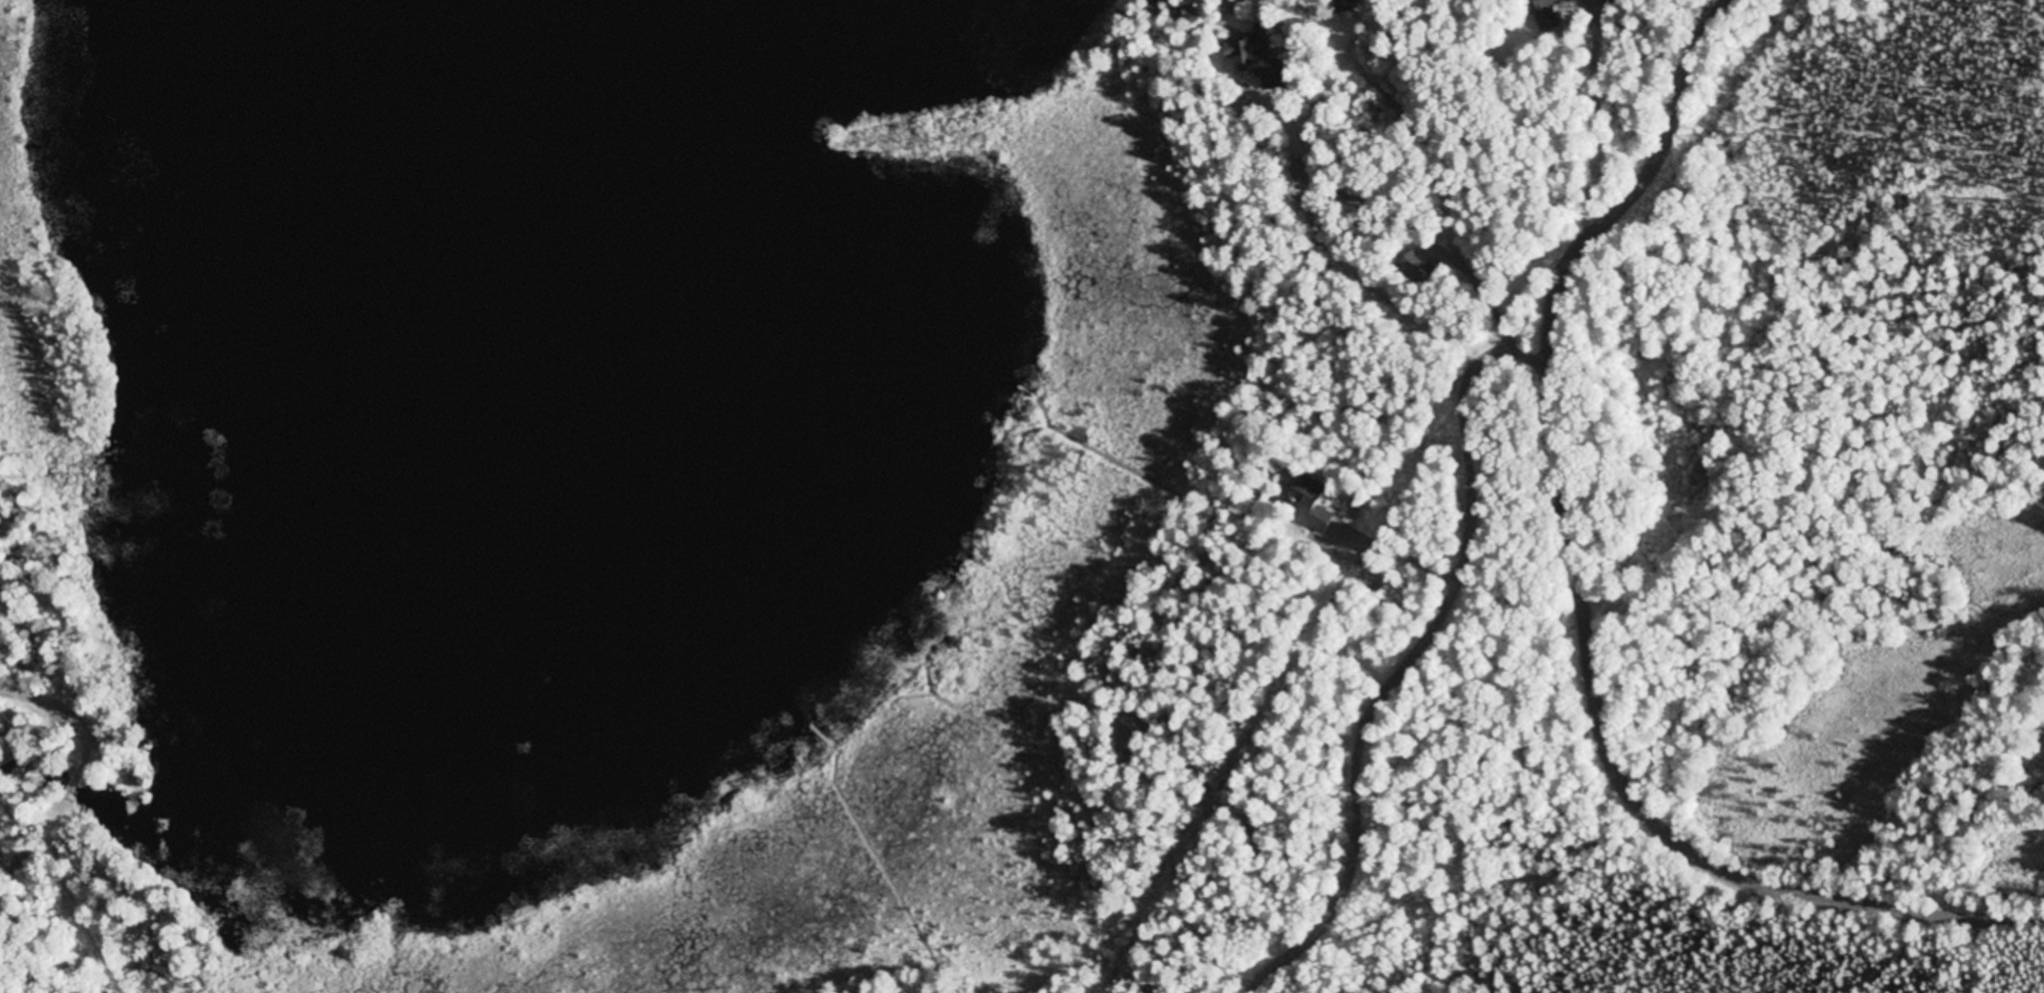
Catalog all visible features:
road: (1353, 232)
river: (493, 514)
road: (1590, 595)
road: (77, 705)
river: (62, 784)
road: (73, 785)
dam: (126, 821)
road: (1610, 863)
road: (83, 898)
road: (1351, 924)

